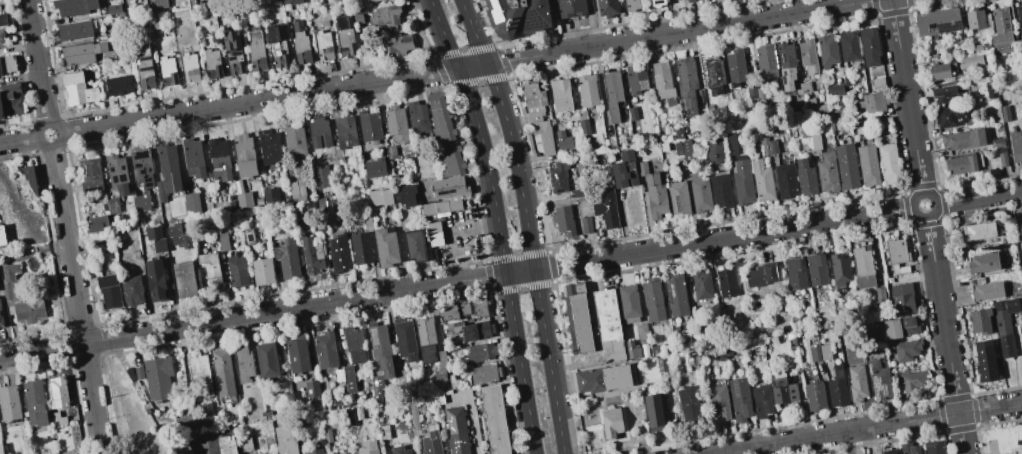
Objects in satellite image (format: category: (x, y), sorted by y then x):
building: (373, 0)
building: (689, 0)
building: (292, 1)
building: (657, 2)
building: (631, 5)
building: (74, 7)
building: (570, 7)
building: (606, 7)
building: (113, 8)
building: (358, 15)
building: (385, 15)
rooftop solar panel: (531, 15)
building: (517, 16)
building: (974, 18)
building: (2, 19)
building: (1019, 19)
building: (937, 21)
rooftop solar panel: (948, 28)
building: (74, 30)
building: (1001, 31)
building: (344, 35)
building: (2, 38)
building: (300, 43)
building: (277, 44)
building: (322, 44)
building: (396, 44)
building: (847, 45)
building: (869, 45)
building: (977, 47)
rooftop solar panel: (237, 50)
building: (827, 50)
building: (256, 51)
building: (81, 52)
building: (233, 52)
rooftop solar panel: (781, 55)
building: (108, 56)
rooftop solar panel: (233, 56)
building: (807, 56)
road: (37, 60)
building: (765, 61)
building: (970, 61)
building: (7, 64)
building: (212, 64)
building: (735, 65)
building: (786, 65)
building: (144, 66)
road: (466, 66)
building: (189, 67)
building: (167, 70)
building: (941, 70)
building: (984, 70)
building: (713, 71)
building: (1021, 74)
rooftop solar panel: (783, 76)
building: (636, 79)
building: (847, 80)
building: (662, 81)
building: (686, 81)
building: (877, 82)
building: (118, 85)
building: (806, 88)
building: (77, 89)
building: (587, 89)
building: (751, 91)
building: (834, 91)
building: (991, 92)
building: (760, 93)
building: (612, 94)
building: (945, 94)
building: (560, 95)
road: (907, 97)
building: (9, 99)
building: (436, 100)
building: (872, 103)
building: (709, 107)
building: (815, 107)
building: (632, 113)
building: (1004, 113)
building: (537, 115)
building: (950, 115)
building: (417, 117)
building: (396, 123)
building: (878, 123)
building: (369, 126)
building: (584, 127)
building: (802, 129)
building: (318, 132)
building: (345, 132)
building: (678, 132)
building: (814, 137)
road: (17, 139)
building: (294, 139)
building: (962, 139)
building: (562, 140)
rooftop solar panel: (298, 141)
building: (611, 141)
building: (997, 142)
building: (446, 143)
building: (731, 144)
building: (764, 145)
building: (1016, 145)
road: (50, 146)
building: (268, 146)
building: (772, 146)
building: (677, 148)
building: (685, 149)
building: (714, 151)
building: (390, 152)
building: (244, 155)
building: (193, 158)
building: (1002, 158)
building: (218, 159)
building: (979, 159)
building: (428, 162)
building: (888, 163)
building: (961, 163)
building: (340, 165)
building: (867, 165)
building: (846, 166)
building: (375, 168)
building: (580, 168)
building: (429, 169)
building: (623, 170)
building: (166, 171)
building: (827, 172)
building: (90, 174)
building: (117, 174)
building: (141, 175)
building: (558, 176)
building: (29, 177)
building: (320, 177)
building: (804, 177)
rooftop solar panel: (115, 178)
rooftop solar panel: (120, 178)
building: (785, 180)
building: (762, 181)
building: (742, 182)
building: (449, 187)
building: (295, 188)
building: (720, 190)
building: (653, 191)
building: (580, 192)
building: (699, 192)
building: (405, 194)
road: (979, 196)
building: (271, 197)
building: (379, 197)
building: (678, 197)
building: (244, 200)
building: (310, 204)
building: (113, 205)
building: (192, 205)
building: (232, 205)
building: (605, 205)
building: (104, 206)
building: (440, 206)
building: (322, 213)
road: (927, 216)
building: (564, 220)
building: (366, 221)
building: (97, 223)
road: (498, 223)
road: (527, 223)
building: (585, 225)
building: (978, 230)
building: (152, 232)
building: (1020, 232)
road: (456, 233)
building: (179, 235)
building: (2, 236)
building: (248, 236)
building: (435, 238)
building: (223, 241)
road: (66, 243)
building: (159, 245)
building: (414, 245)
building: (385, 247)
building: (360, 248)
building: (339, 253)
building: (309, 255)
building: (896, 255)
building: (287, 259)
building: (983, 262)
building: (862, 267)
building: (816, 269)
building: (839, 269)
building: (211, 270)
building: (237, 271)
building: (262, 271)
building: (761, 274)
building: (795, 274)
building: (184, 279)
building: (156, 280)
road: (457, 281)
building: (725, 282)
building: (701, 284)
rooftop solar panel: (669, 285)
building: (10, 289)
building: (985, 289)
building: (131, 290)
building: (108, 291)
building: (879, 294)
rooftop solar panel: (672, 295)
building: (675, 295)
building: (652, 299)
building: (902, 299)
building: (629, 301)
building: (479, 306)
building: (463, 309)
building: (447, 312)
building: (576, 317)
building: (1, 319)
building: (609, 321)
building: (980, 321)
building: (1004, 325)
building: (453, 326)
building: (908, 326)
building: (890, 329)
building: (477, 330)
building: (641, 332)
building: (831, 334)
road: (945, 334)
rooftop solar panel: (374, 336)
building: (426, 338)
building: (405, 342)
building: (791, 342)
building: (353, 344)
building: (380, 348)
building: (324, 349)
building: (906, 349)
building: (632, 350)
building: (824, 351)
building: (481, 352)
building: (297, 354)
building: (814, 354)
building: (441, 358)
building: (266, 359)
building: (985, 360)
building: (244, 363)
building: (222, 364)
building: (661, 364)
rooftop solar panel: (869, 368)
building: (200, 371)
building: (129, 373)
building: (139, 373)
building: (484, 374)
building: (338, 375)
building: (401, 376)
building: (157, 377)
building: (602, 378)
building: (349, 379)
building: (878, 379)
building: (911, 380)
building: (857, 383)
building: (376, 386)
rooftop solar panel: (736, 386)
building: (836, 387)
rooftop solar panel: (876, 388)
building: (312, 390)
rooftop solar panel: (883, 390)
building: (57, 392)
building: (784, 393)
building: (814, 396)
road: (91, 398)
building: (739, 399)
building: (761, 401)
building: (9, 403)
building: (34, 403)
building: (718, 404)
building: (689, 406)
building: (656, 411)
building: (413, 415)
building: (352, 416)
building: (196, 418)
building: (57, 419)
building: (494, 419)
building: (610, 421)
road: (869, 428)
building: (456, 430)
building: (383, 431)
building: (327, 436)
building: (285, 439)
building: (1004, 439)
building: (431, 440)
building: (245, 443)
building: (226, 445)
road: (215, 446)
building: (933, 447)
building: (368, 448)
building: (908, 448)
building: (1, 449)
building: (182, 449)
building: (313, 450)
building: (399, 450)
building: (890, 451)
building: (342, 453)

